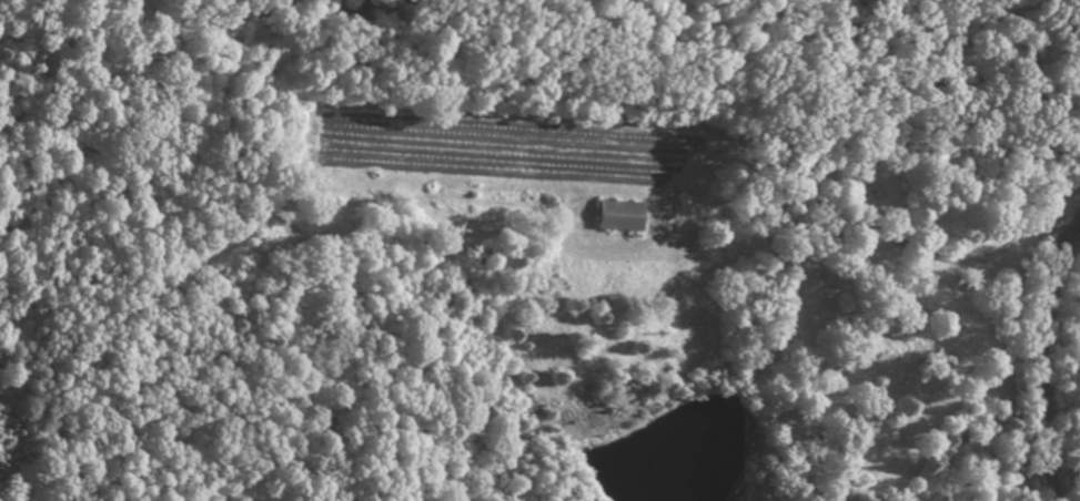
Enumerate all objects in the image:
building: (618, 214)
road: (1041, 362)

